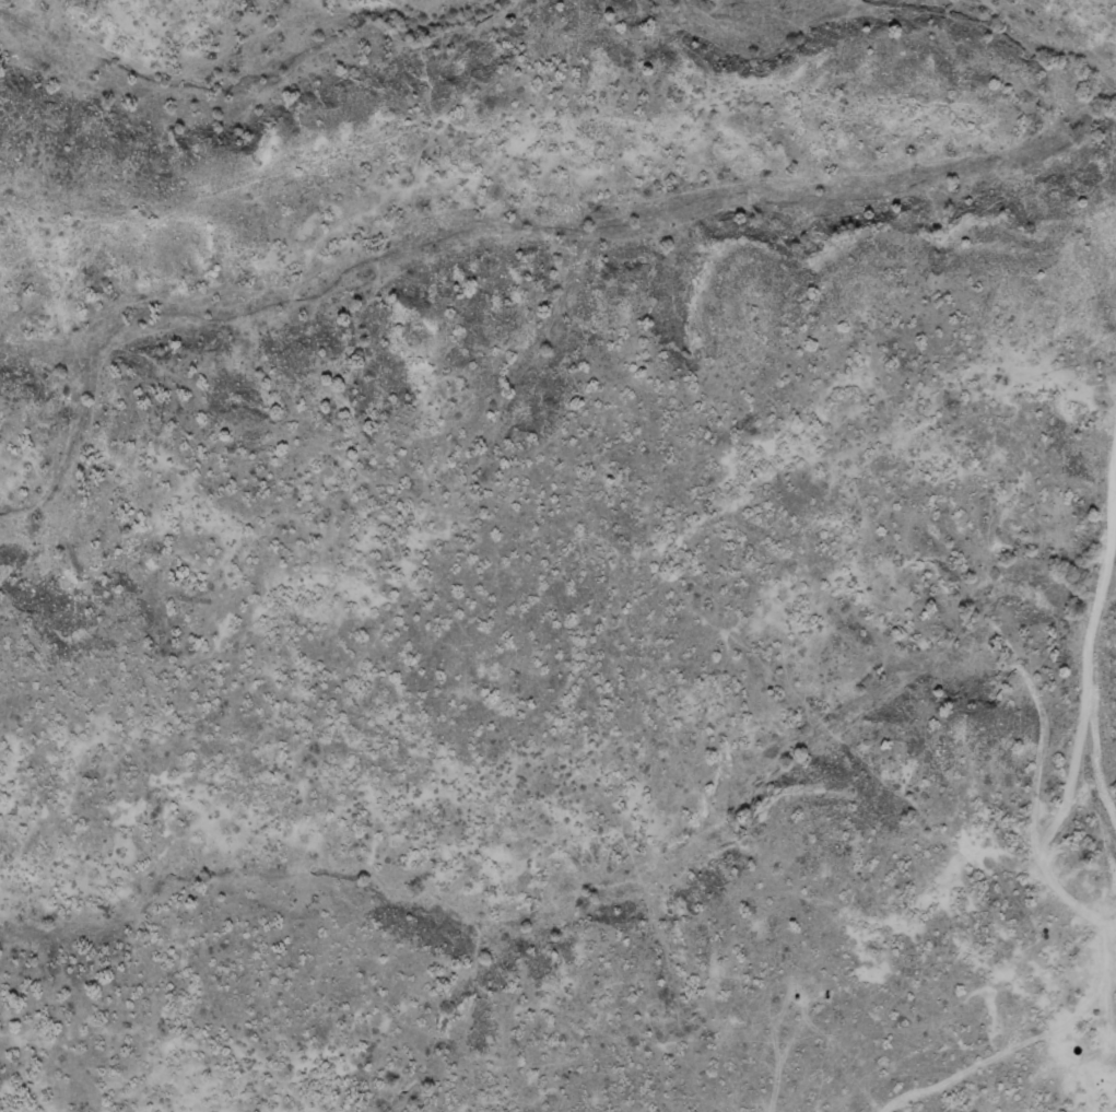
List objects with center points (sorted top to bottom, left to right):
road: (1103, 712)

